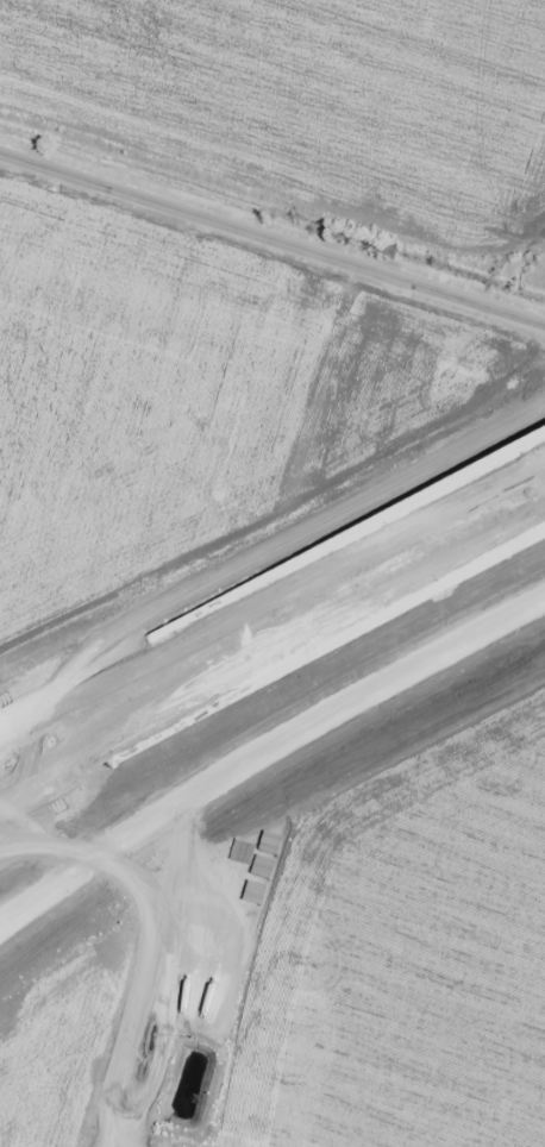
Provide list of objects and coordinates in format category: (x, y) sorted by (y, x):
crop: (308, 105)
road: (272, 243)
road: (272, 583)
road: (271, 665)
road: (267, 759)

